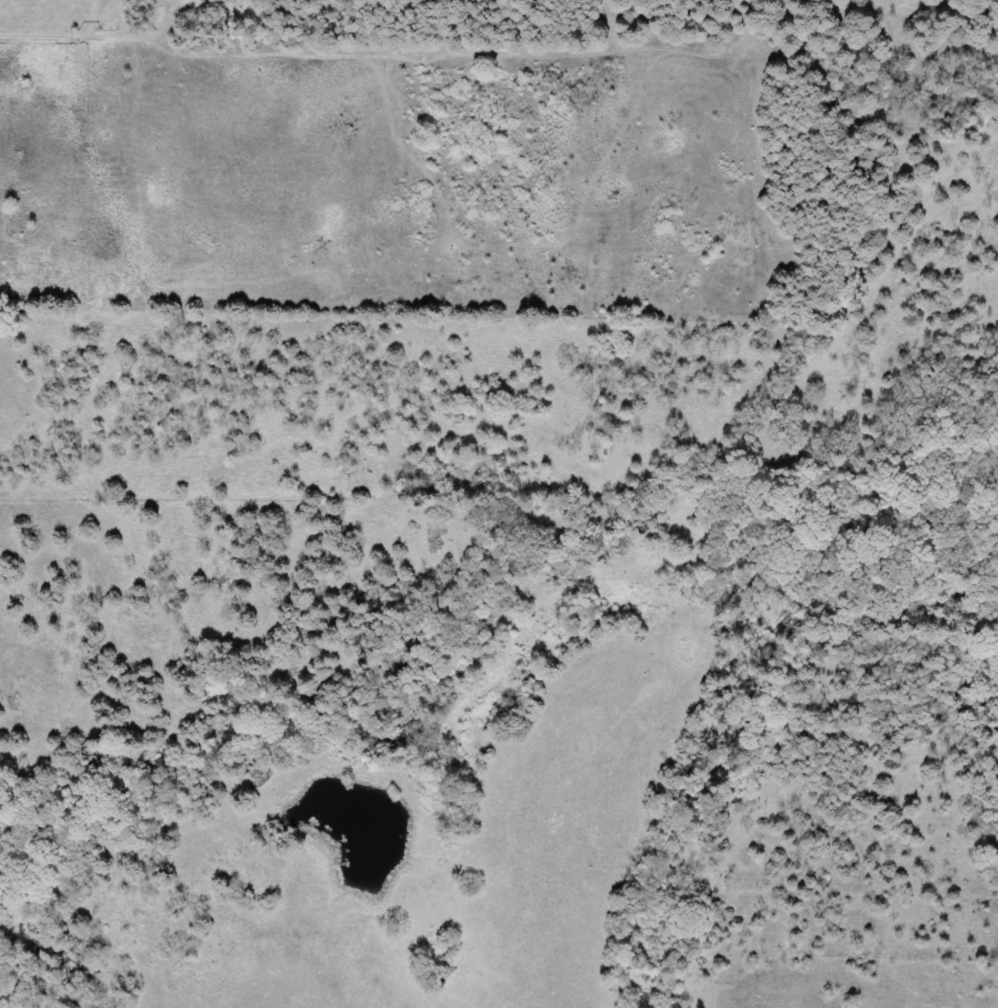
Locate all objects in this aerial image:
road: (207, 5)
road: (81, 37)

